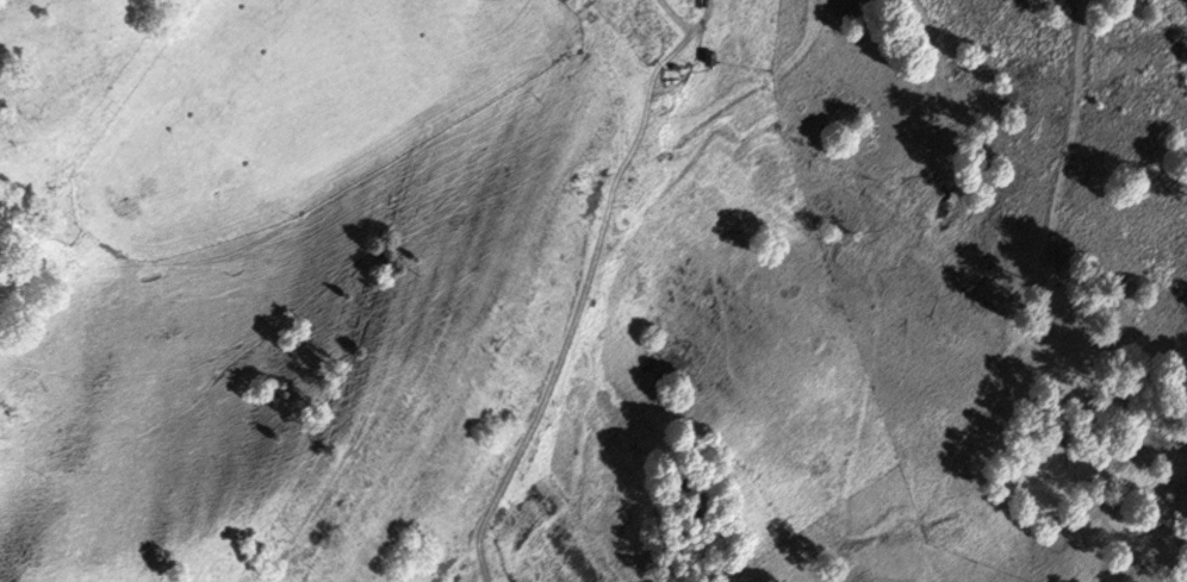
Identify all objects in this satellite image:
road: (585, 286)

